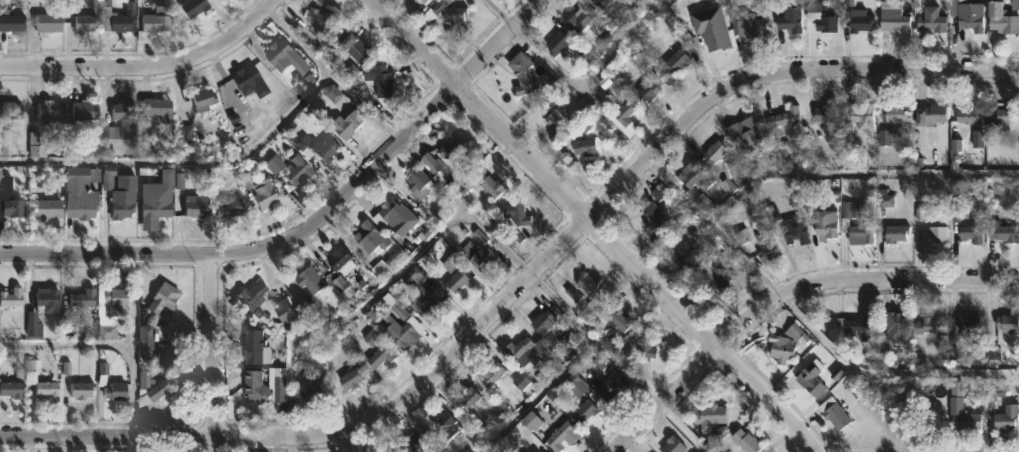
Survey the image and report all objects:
building: (221, 0)
building: (427, 1)
building: (598, 3)
building: (194, 8)
building: (452, 12)
building: (968, 16)
building: (116, 18)
building: (931, 18)
building: (1000, 19)
building: (51, 20)
building: (323, 20)
building: (578, 20)
building: (789, 20)
building: (892, 20)
building: (854, 21)
building: (13, 22)
building: (86, 22)
building: (155, 23)
building: (824, 23)
building: (747, 25)
building: (709, 28)
building: (554, 44)
road: (623, 44)
building: (360, 48)
building: (289, 61)
building: (674, 61)
road: (149, 70)
building: (520, 74)
building: (246, 77)
road: (568, 79)
building: (385, 81)
building: (645, 91)
building: (204, 99)
building: (160, 109)
building: (14, 110)
building: (87, 110)
building: (623, 112)
building: (51, 114)
building: (823, 114)
building: (894, 115)
building: (967, 115)
building: (928, 116)
building: (1005, 116)
building: (782, 117)
building: (125, 118)
building: (857, 119)
building: (555, 120)
building: (344, 124)
building: (744, 134)
building: (37, 145)
building: (313, 146)
building: (582, 147)
road: (390, 150)
building: (451, 150)
building: (435, 167)
building: (294, 170)
building: (723, 171)
road: (811, 173)
building: (692, 176)
building: (484, 183)
building: (421, 188)
building: (82, 193)
building: (266, 194)
building: (120, 195)
building: (10, 199)
building: (699, 201)
building: (157, 203)
building: (197, 206)
building: (224, 208)
building: (654, 208)
building: (50, 209)
building: (392, 209)
building: (519, 215)
building: (864, 222)
road: (595, 224)
building: (821, 224)
building: (971, 228)
building: (793, 230)
building: (894, 233)
building: (1002, 233)
building: (933, 235)
building: (373, 238)
building: (765, 248)
road: (106, 253)
building: (683, 255)
building: (474, 256)
building: (344, 259)
building: (591, 280)
building: (453, 282)
building: (714, 282)
road: (522, 284)
building: (308, 285)
road: (784, 292)
building: (253, 293)
building: (85, 297)
building: (13, 298)
building: (118, 299)
building: (165, 300)
building: (43, 308)
building: (428, 308)
building: (287, 314)
building: (618, 320)
building: (546, 321)
building: (1005, 323)
building: (851, 325)
building: (928, 325)
building: (107, 326)
building: (965, 326)
building: (406, 330)
building: (147, 335)
building: (890, 337)
building: (374, 339)
road: (596, 339)
road: (118, 342)
building: (256, 346)
building: (643, 347)
building: (779, 349)
road: (212, 352)
building: (517, 352)
building: (168, 354)
road: (839, 354)
building: (383, 355)
building: (493, 372)
building: (353, 378)
building: (809, 379)
building: (43, 383)
building: (277, 383)
building: (11, 388)
building: (258, 388)
building: (83, 389)
building: (117, 389)
building: (163, 390)
building: (609, 390)
building: (319, 391)
road: (536, 394)
building: (994, 394)
building: (470, 397)
building: (586, 414)
building: (706, 414)
building: (832, 414)
building: (1004, 419)
building: (965, 422)
building: (534, 423)
building: (441, 427)
building: (560, 436)
building: (745, 441)
building: (417, 442)
building: (670, 444)
road: (288, 445)
building: (391, 451)
building: (395, 451)
building: (531, 451)

